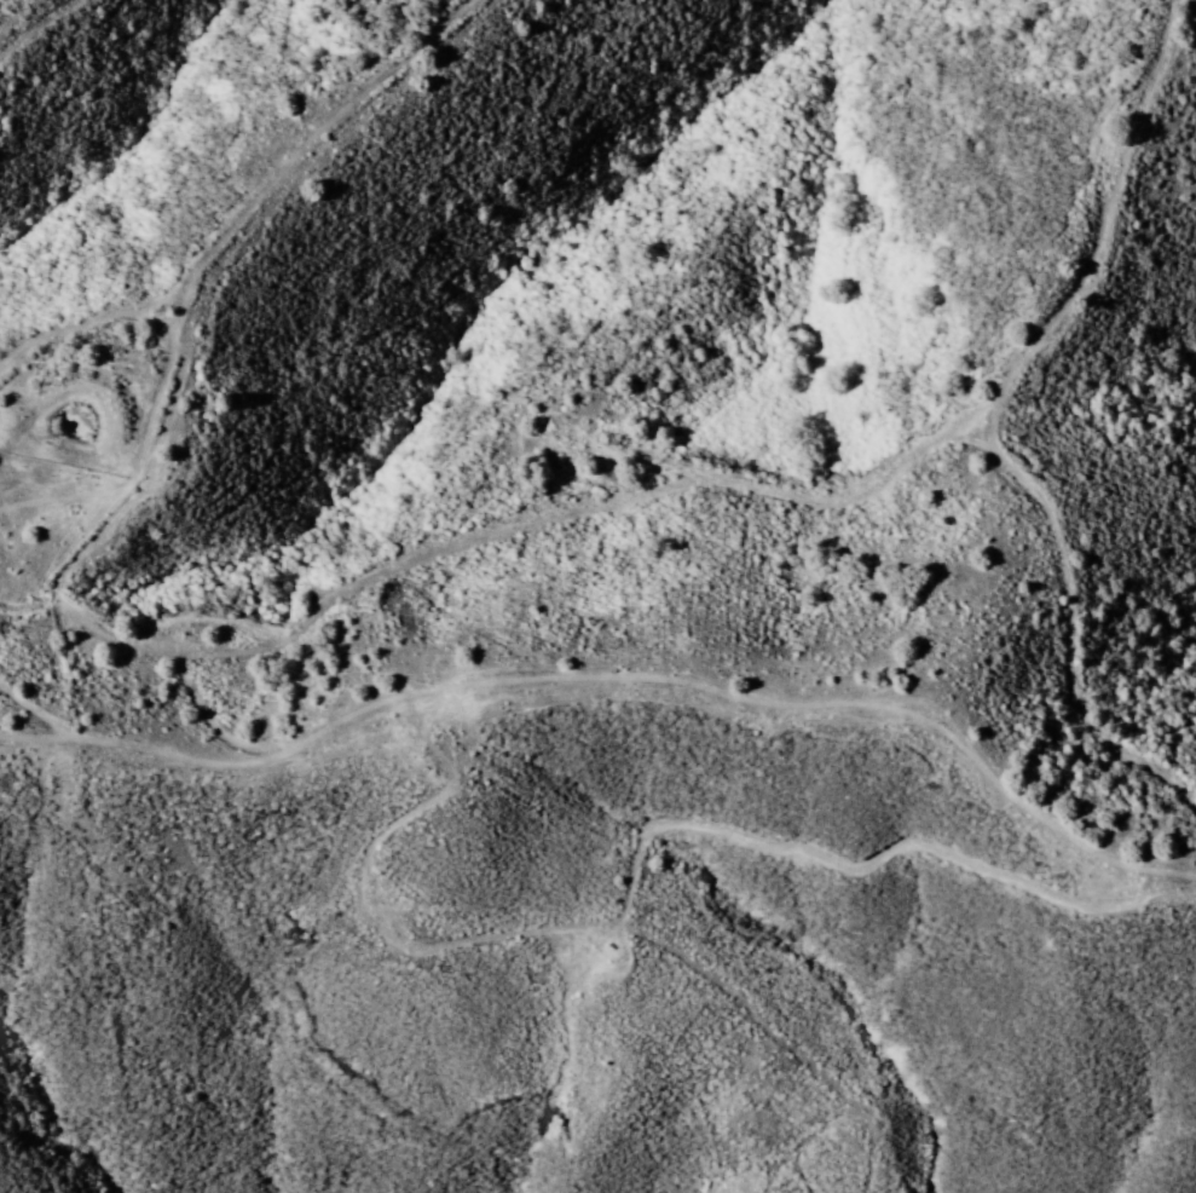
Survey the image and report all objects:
road: (613, 715)

